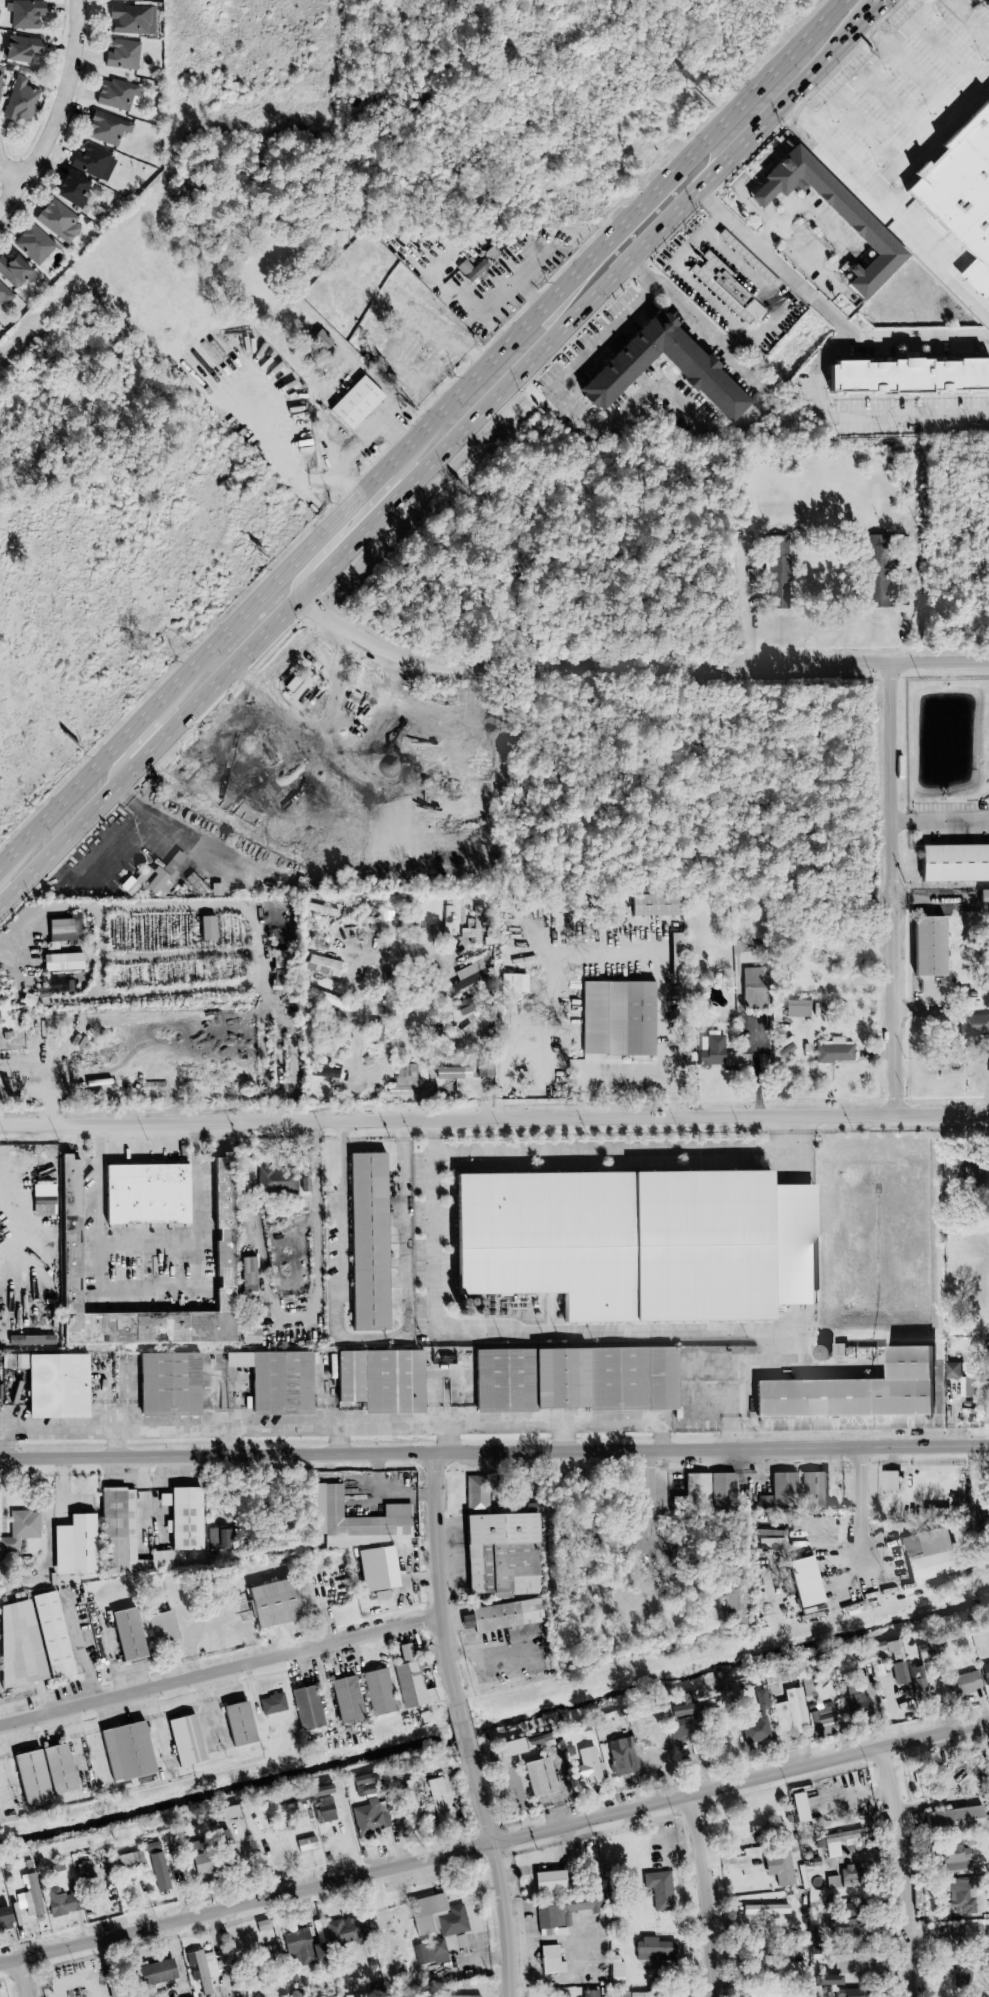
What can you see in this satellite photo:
building: (134, 0)
road: (881, 2)
building: (23, 13)
building: (131, 19)
road: (883, 40)
building: (19, 48)
road: (910, 52)
building: (121, 54)
building: (19, 101)
road: (59, 109)
building: (105, 128)
road: (931, 129)
building: (92, 162)
road: (8, 174)
building: (961, 186)
building: (71, 189)
road: (886, 200)
building: (57, 219)
building: (869, 231)
road: (615, 234)
building: (32, 244)
building: (749, 258)
road: (772, 262)
building: (14, 271)
road: (523, 286)
building: (731, 288)
building: (714, 289)
building: (4, 296)
road: (454, 340)
road: (916, 342)
building: (694, 370)
building: (905, 376)
road: (682, 400)
building: (354, 403)
road: (860, 418)
road: (359, 442)
road: (438, 454)
road: (357, 497)
road: (311, 562)
building: (876, 571)
building: (777, 572)
road: (756, 600)
road: (913, 604)
road: (635, 666)
road: (164, 696)
road: (131, 746)
road: (943, 820)
building: (954, 863)
building: (159, 882)
road: (898, 889)
building: (983, 897)
building: (655, 904)
building: (472, 926)
building: (206, 927)
building: (62, 929)
building: (928, 945)
road: (387, 955)
road: (608, 955)
building: (675, 955)
building: (278, 959)
building: (61, 961)
building: (322, 965)
building: (468, 975)
building: (278, 977)
building: (59, 985)
building: (508, 985)
building: (753, 986)
building: (325, 998)
building: (463, 1006)
building: (797, 1006)
building: (617, 1018)
building: (973, 1025)
building: (454, 1035)
building: (833, 1050)
building: (712, 1051)
road: (766, 1052)
building: (484, 1068)
building: (323, 1072)
building: (455, 1076)
road: (624, 1076)
building: (403, 1080)
road: (354, 1103)
road: (494, 1119)
road: (625, 1149)
building: (276, 1181)
building: (145, 1194)
building: (42, 1199)
road: (29, 1205)
road: (434, 1223)
road: (317, 1229)
road: (151, 1234)
building: (366, 1241)
building: (637, 1242)
building: (68, 1260)
building: (246, 1275)
road: (148, 1292)
road: (751, 1328)
road: (566, 1329)
building: (248, 1334)
road: (371, 1339)
building: (30, 1341)
road: (740, 1357)
building: (952, 1370)
building: (574, 1378)
building: (275, 1380)
building: (379, 1380)
building: (51, 1382)
building: (167, 1384)
building: (967, 1384)
building: (854, 1390)
road: (567, 1404)
road: (456, 1406)
road: (119, 1408)
road: (235, 1414)
road: (330, 1414)
road: (10, 1418)
road: (332, 1426)
road: (494, 1452)
building: (888, 1479)
building: (813, 1489)
building: (721, 1490)
building: (696, 1491)
building: (780, 1491)
road: (653, 1505)
road: (865, 1507)
building: (182, 1517)
building: (981, 1518)
building: (357, 1520)
building: (20, 1528)
building: (124, 1535)
building: (217, 1538)
building: (73, 1545)
building: (498, 1545)
building: (928, 1554)
building: (377, 1568)
road: (439, 1579)
building: (804, 1581)
building: (328, 1595)
building: (734, 1599)
building: (271, 1603)
building: (505, 1614)
building: (160, 1627)
building: (51, 1634)
building: (126, 1634)
building: (19, 1644)
building: (895, 1649)
building: (925, 1668)
road: (220, 1670)
building: (898, 1672)
building: (985, 1673)
building: (914, 1679)
building: (968, 1681)
building: (412, 1685)
building: (807, 1686)
building: (378, 1691)
building: (346, 1699)
building: (856, 1701)
building: (271, 1704)
road: (217, 1707)
building: (306, 1707)
building: (795, 1708)
building: (684, 1720)
building: (822, 1720)
road: (165, 1721)
building: (757, 1721)
building: (237, 1723)
river: (494, 1725)
road: (465, 1730)
building: (184, 1740)
road: (86, 1742)
building: (510, 1747)
building: (125, 1751)
building: (621, 1756)
building: (586, 1765)
building: (42, 1773)
building: (538, 1777)
building: (363, 1784)
building: (435, 1797)
building: (322, 1803)
building: (227, 1812)
building: (369, 1817)
building: (953, 1819)
building: (840, 1840)
road: (494, 1842)
building: (305, 1844)
building: (227, 1849)
building: (956, 1853)
building: (202, 1863)
building: (156, 1866)
building: (778, 1866)
road: (905, 1870)
road: (499, 1875)
building: (851, 1876)
building: (548, 1880)
building: (832, 1882)
building: (659, 1889)
building: (29, 1895)
road: (706, 1895)
building: (962, 1895)
building: (60, 1902)
building: (764, 1909)
building: (565, 1912)
building: (4, 1917)
building: (451, 1923)
building: (848, 1927)
building: (346, 1931)
building: (969, 1931)
building: (301, 1948)
building: (653, 1950)
building: (550, 1960)
building: (848, 1961)
building: (203, 1968)
building: (790, 1968)
building: (615, 1969)
building: (153, 1972)
building: (961, 1976)
road: (22, 1977)
building: (826, 1980)
building: (763, 1992)
building: (589, 1993)
building: (855, 1993)
building: (644, 1994)
building: (458, 1996)

